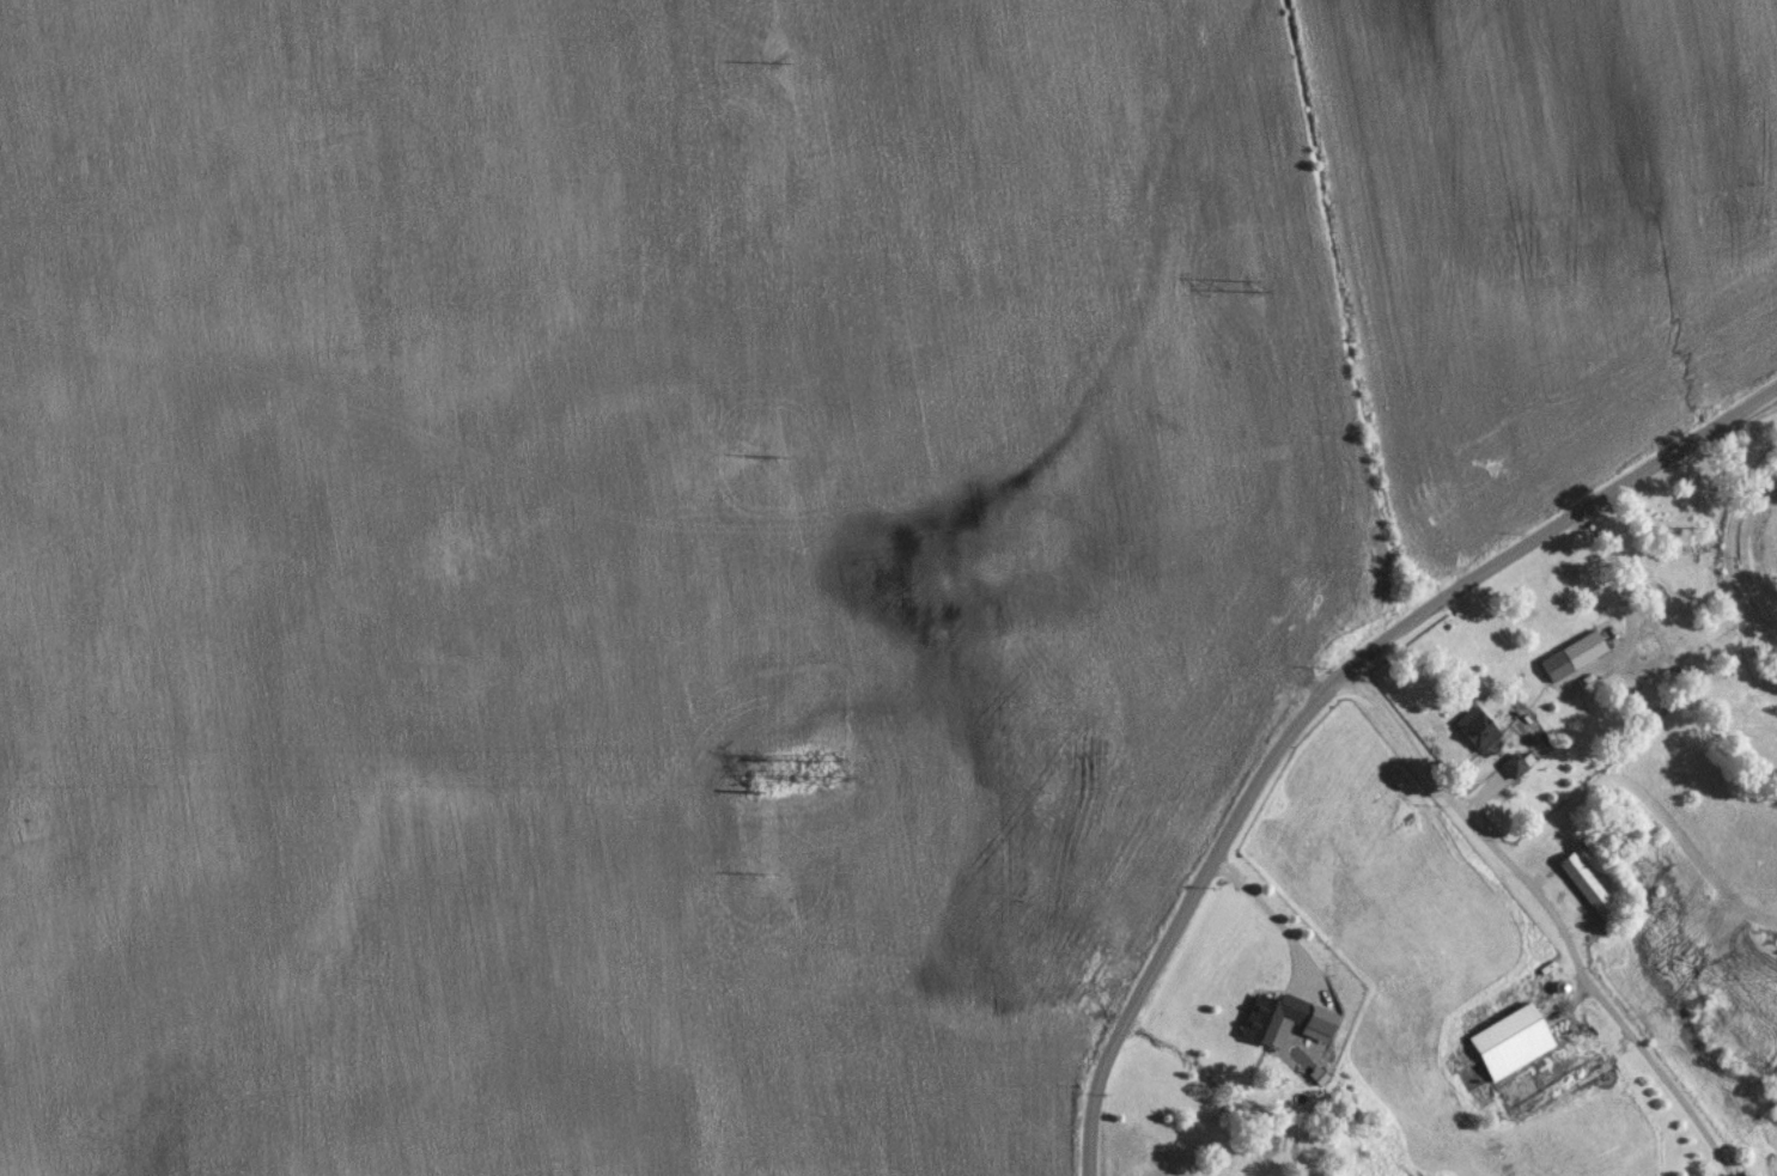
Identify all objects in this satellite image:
power tower: (1261, 270)
road: (1630, 609)
building: (1577, 652)
road: (1344, 672)
building: (1480, 726)
building: (1517, 763)
power tower: (828, 770)
building: (1588, 882)
road: (1553, 912)
road: (1271, 913)
building: (1277, 1017)
building: (1516, 1038)
road: (1090, 1147)

